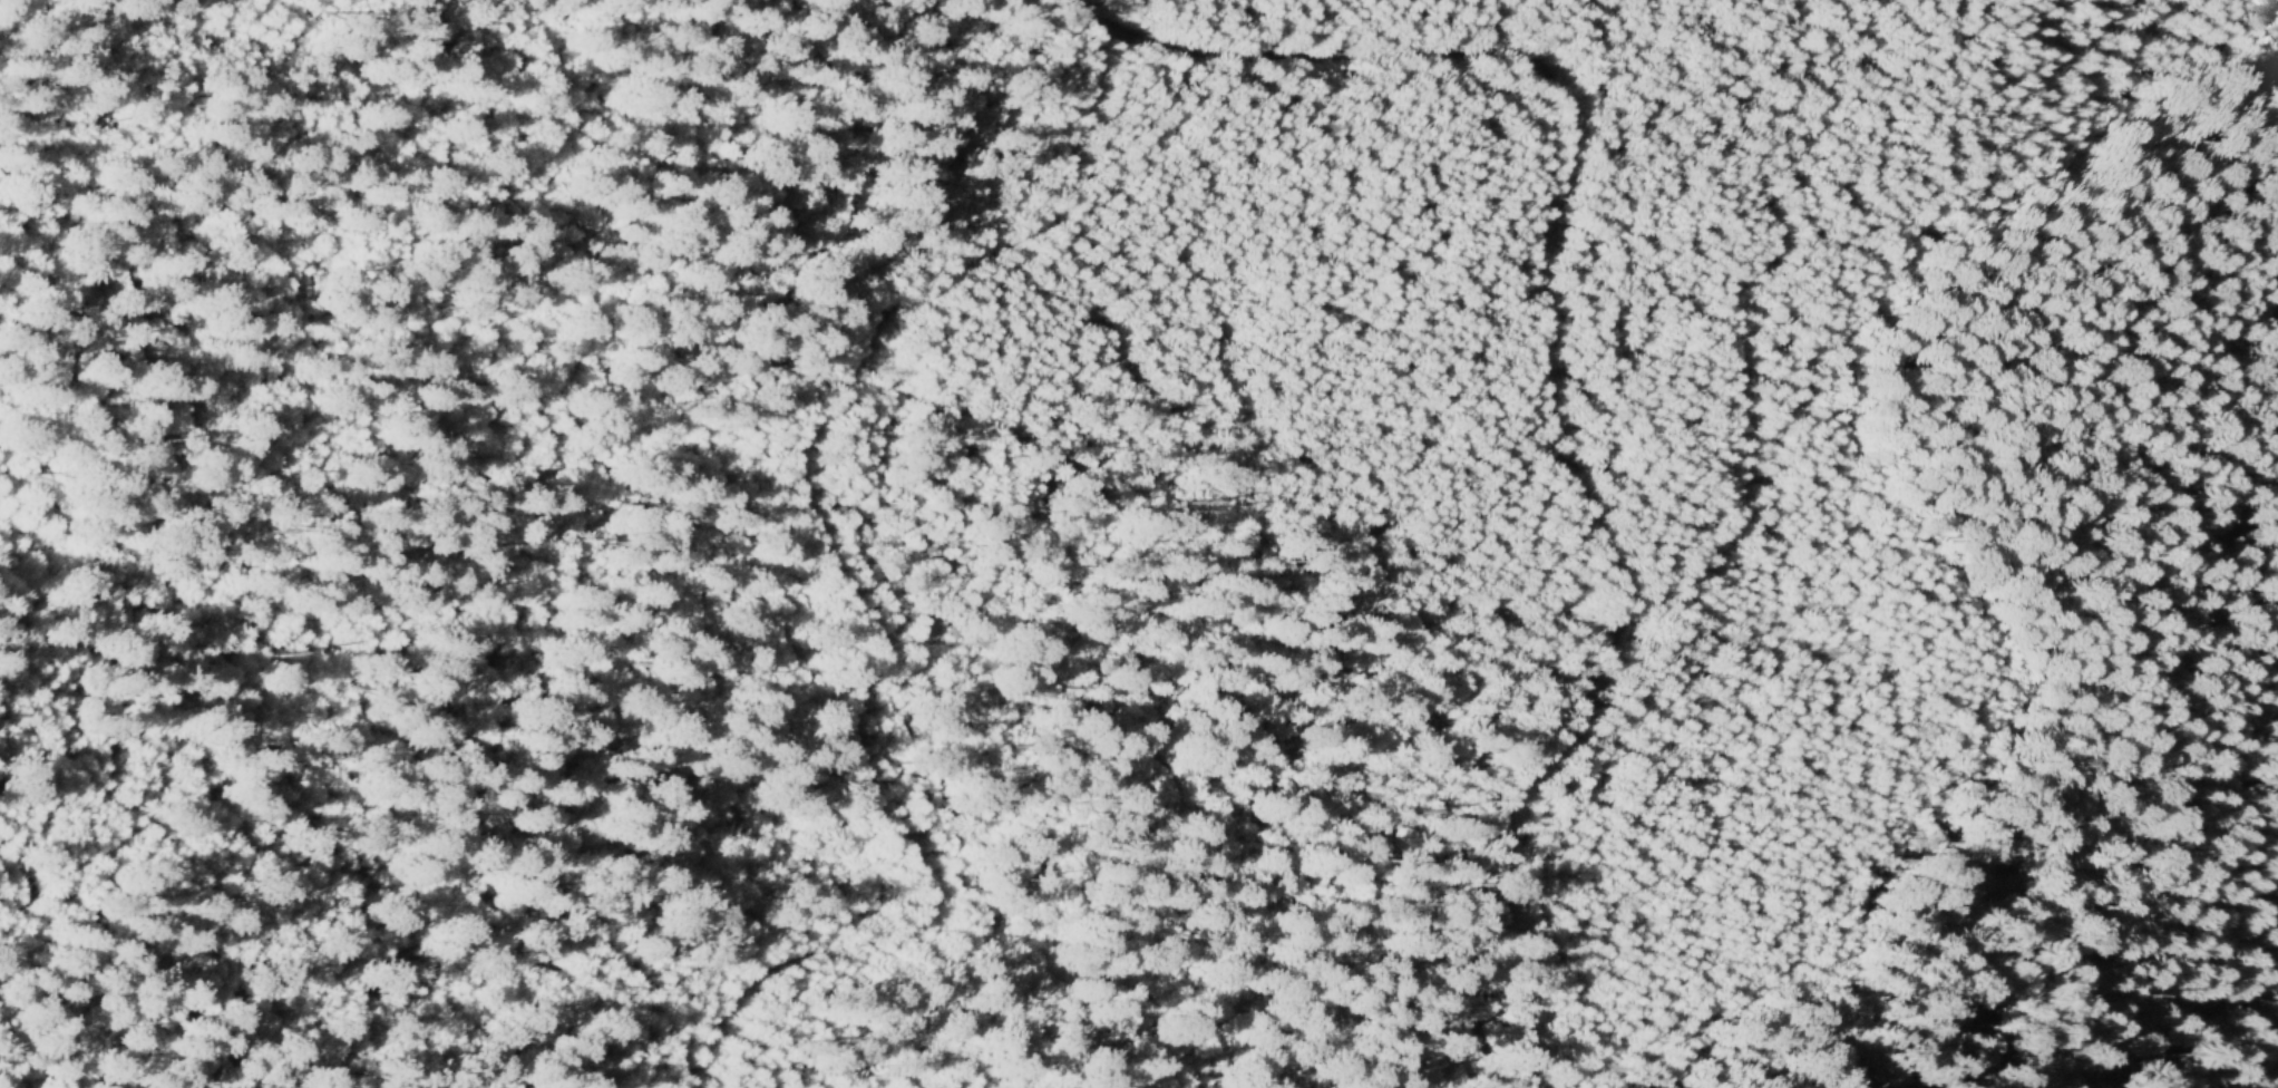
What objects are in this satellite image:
road: (183, 940)

